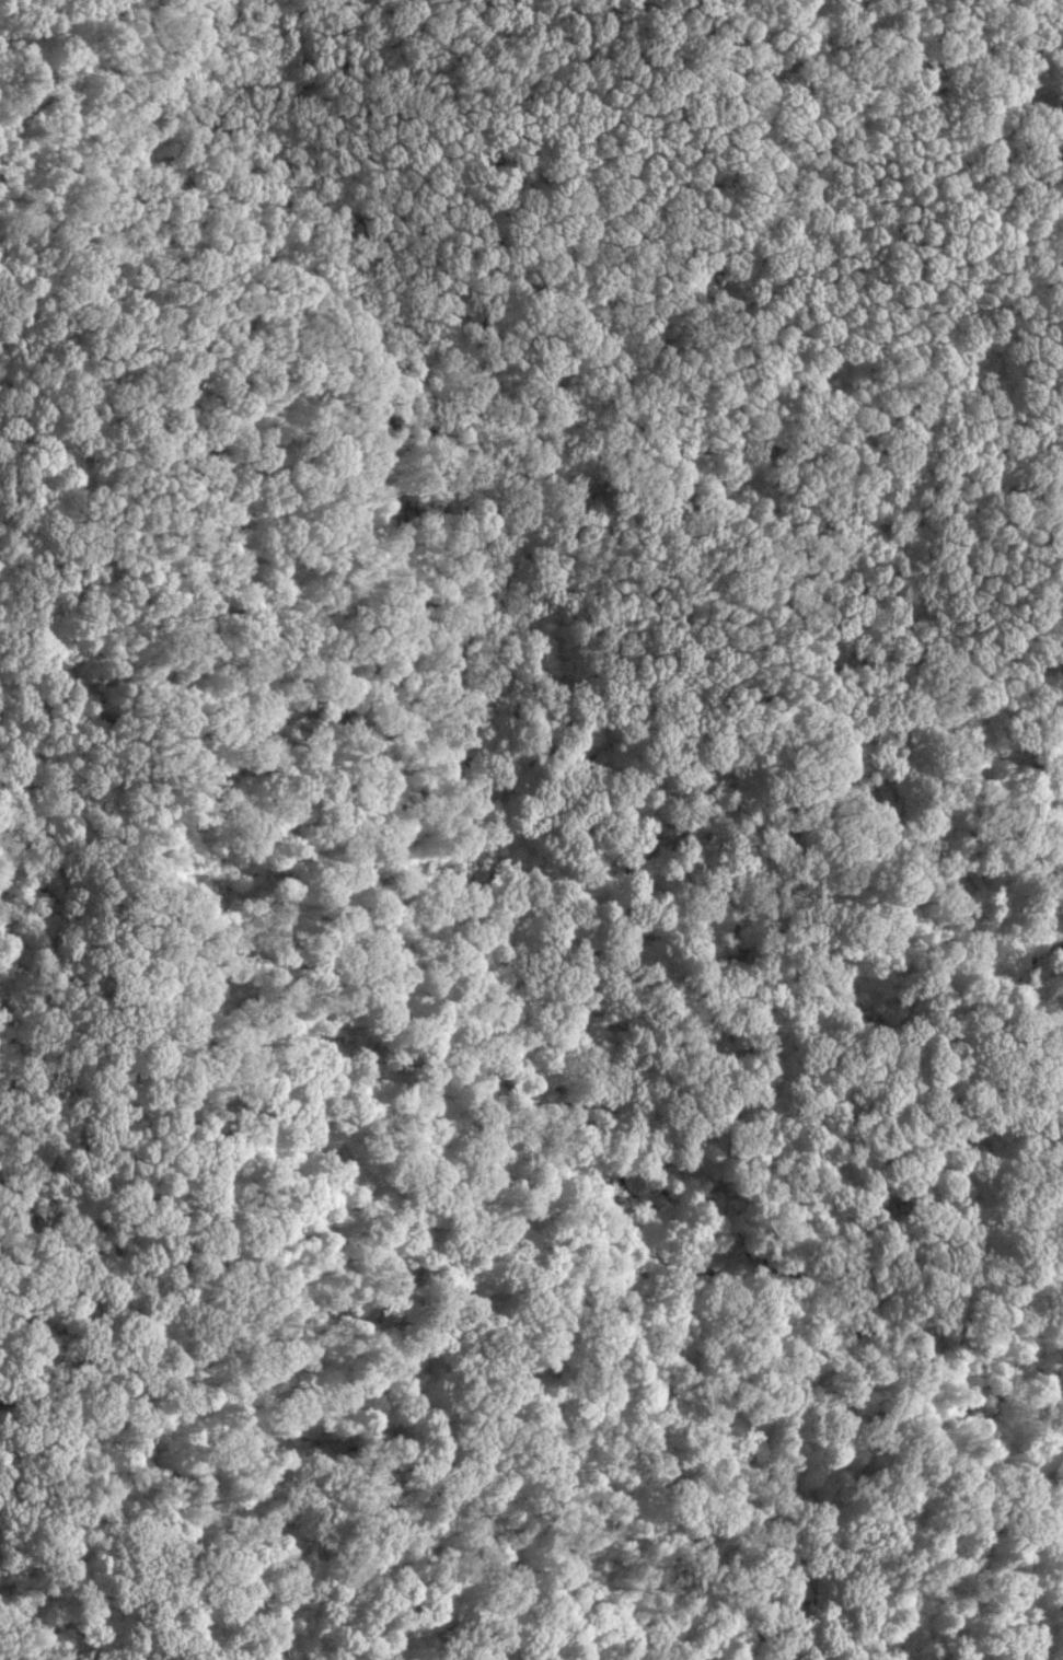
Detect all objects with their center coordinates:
road: (497, 848)

